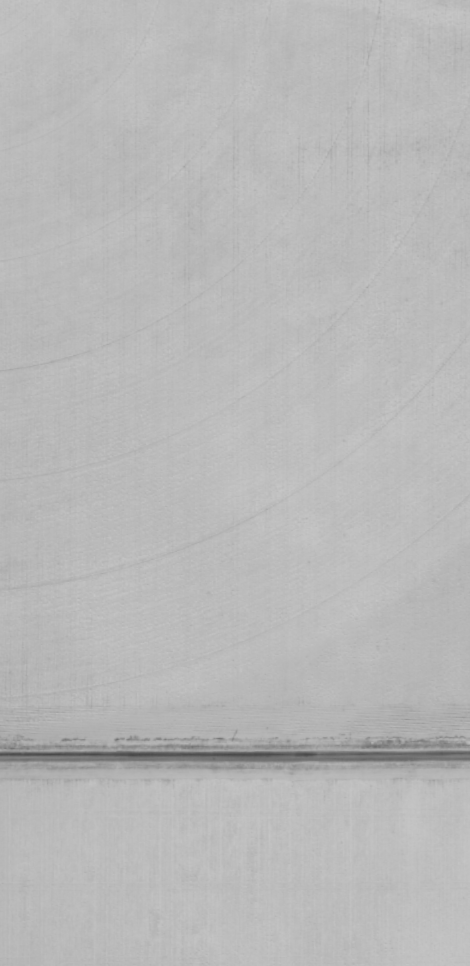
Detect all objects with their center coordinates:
road: (235, 758)

